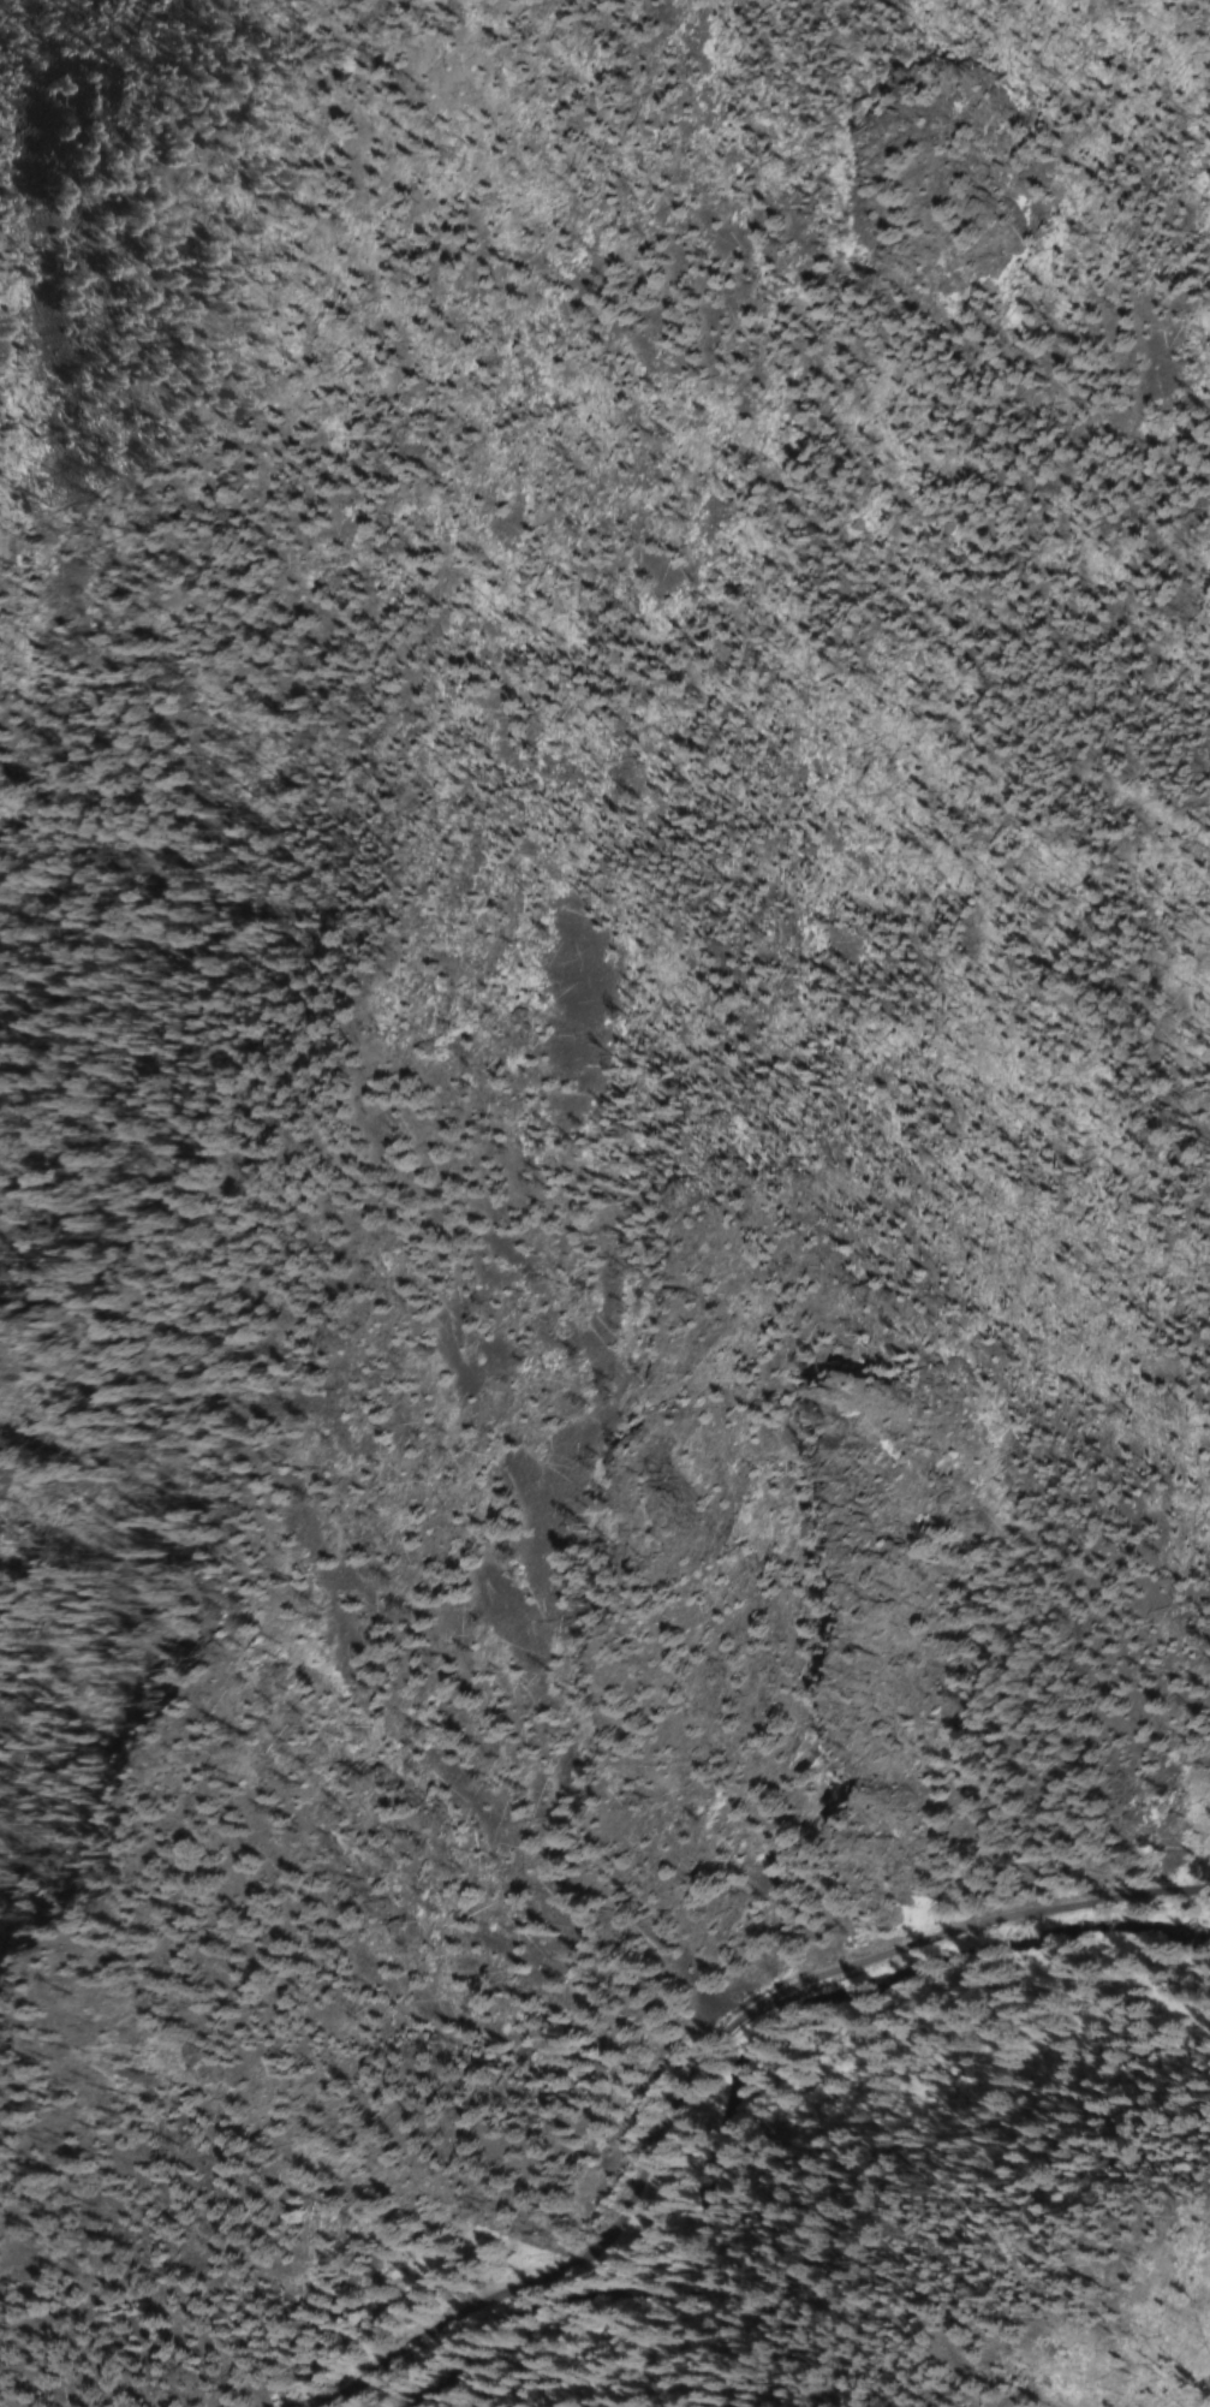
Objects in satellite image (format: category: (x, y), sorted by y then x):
road: (698, 2051)
river: (733, 2074)

